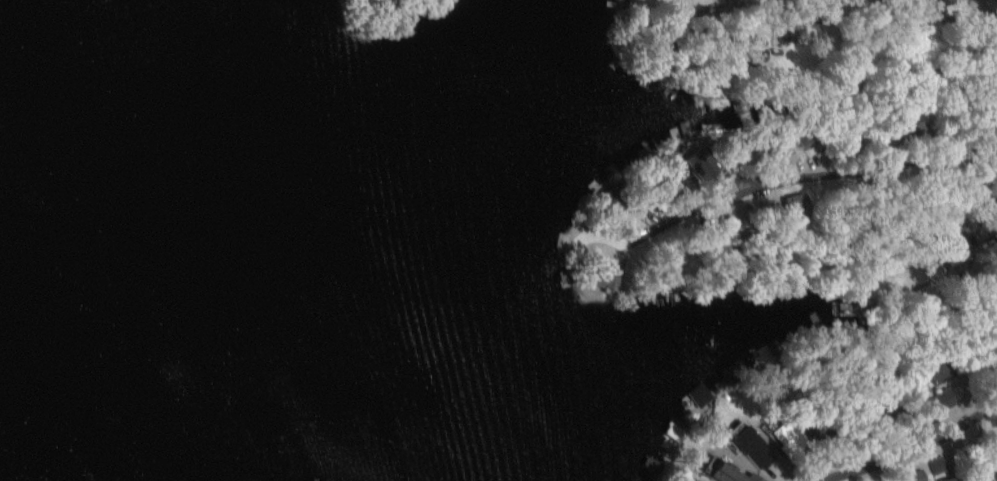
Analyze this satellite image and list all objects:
building: (936, 2)
road: (694, 13)
building: (799, 134)
road: (968, 151)
building: (699, 164)
road: (811, 174)
road: (984, 183)
building: (615, 196)
building: (793, 204)
road: (963, 215)
building: (767, 354)
building: (729, 377)
building: (698, 394)
building: (943, 398)
building: (785, 436)
building: (751, 447)
road: (912, 449)
building: (936, 464)
building: (731, 474)
building: (914, 475)
building: (947, 479)

